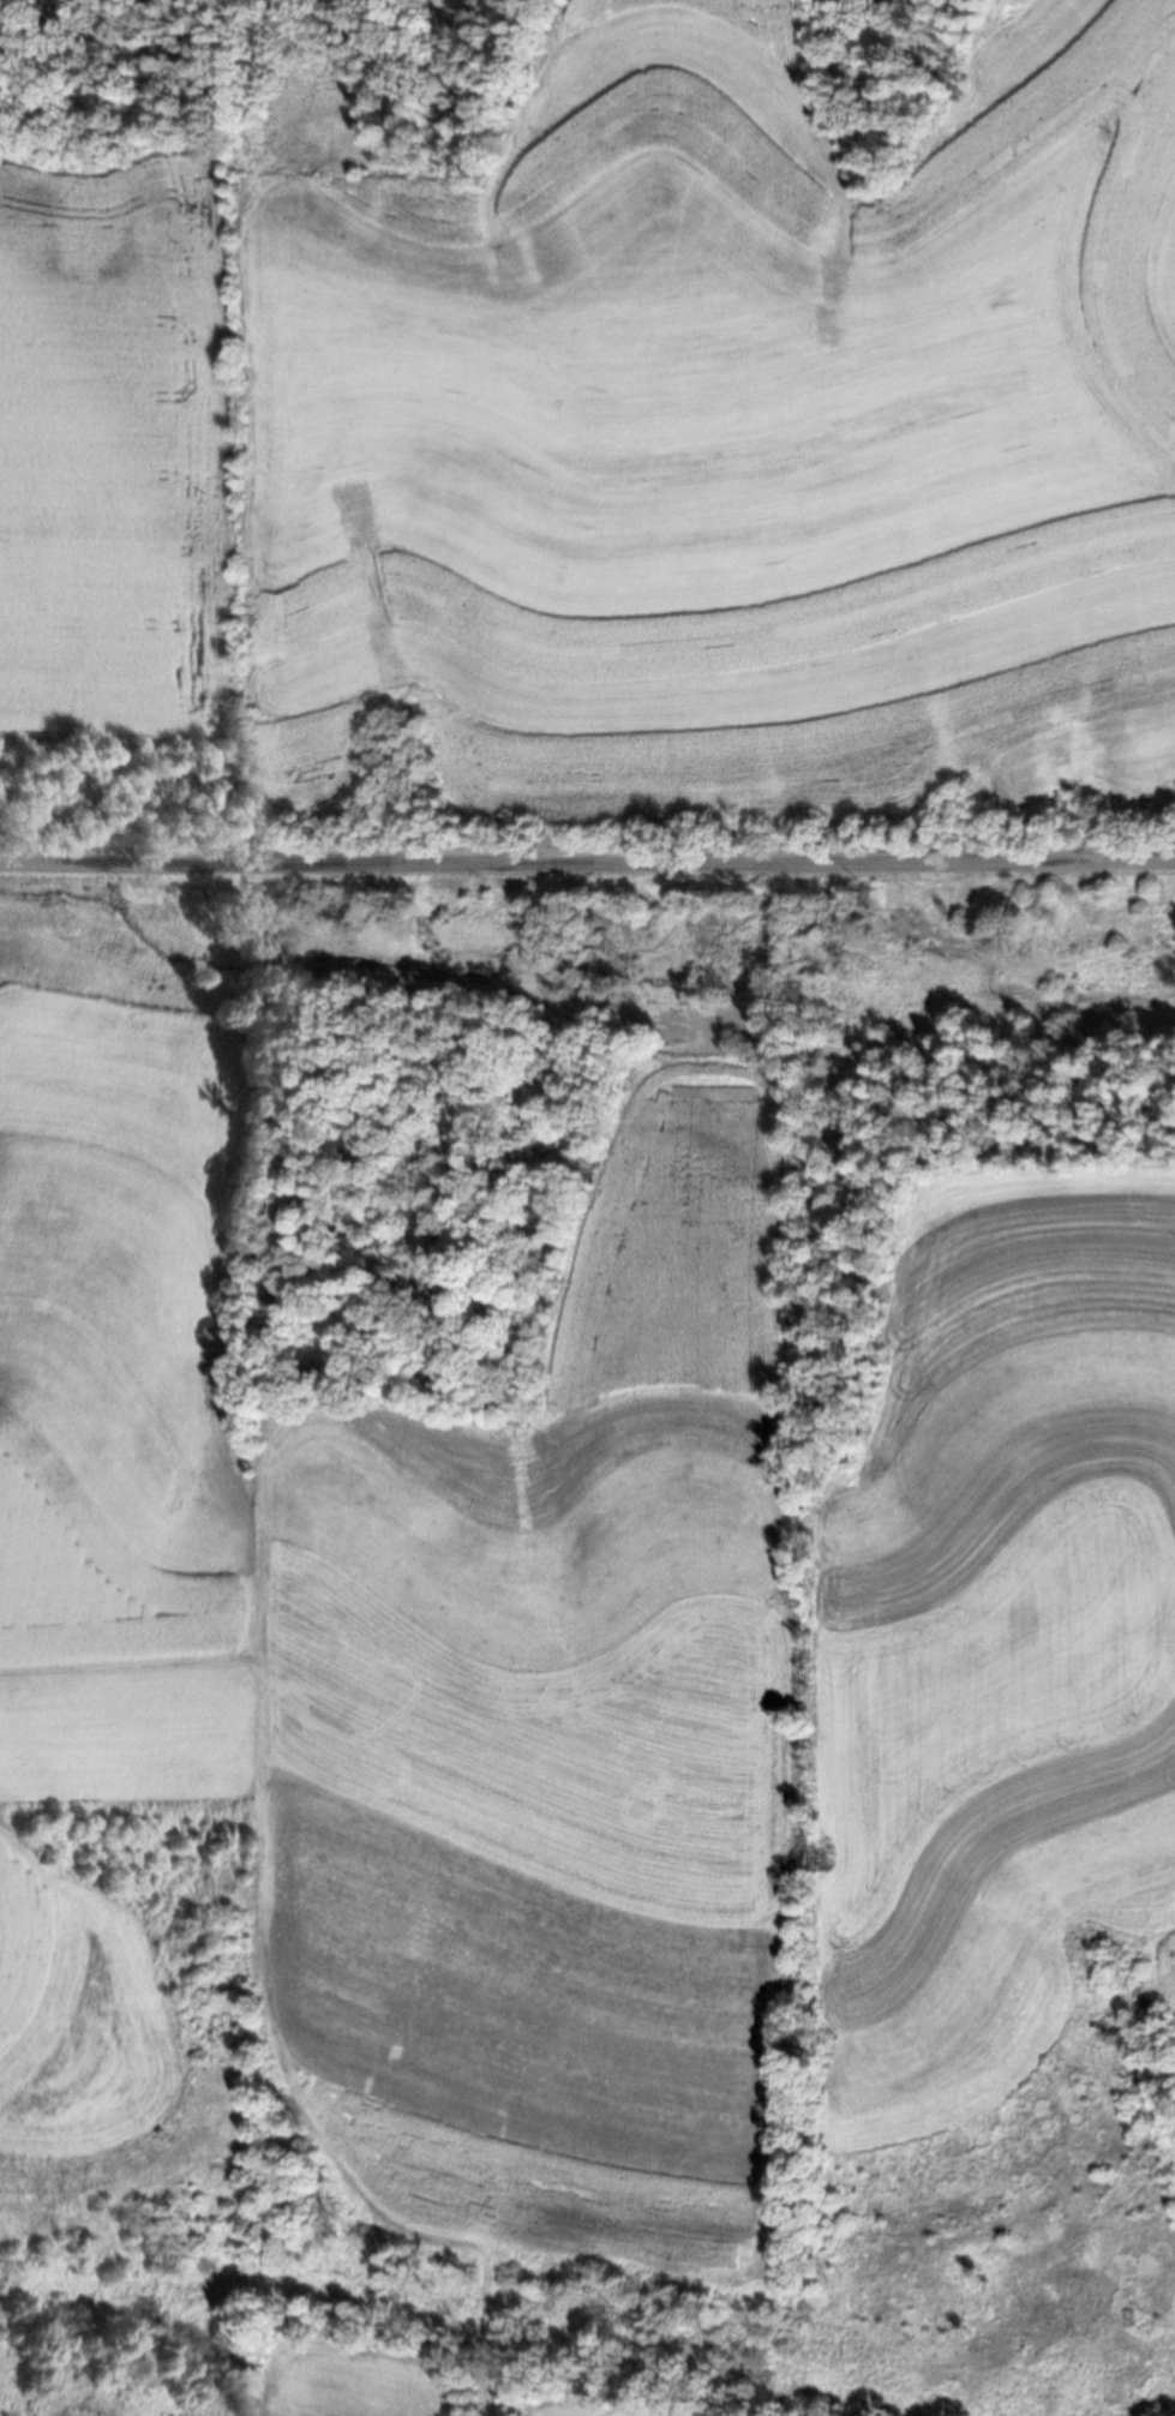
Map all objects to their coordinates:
road: (587, 863)

